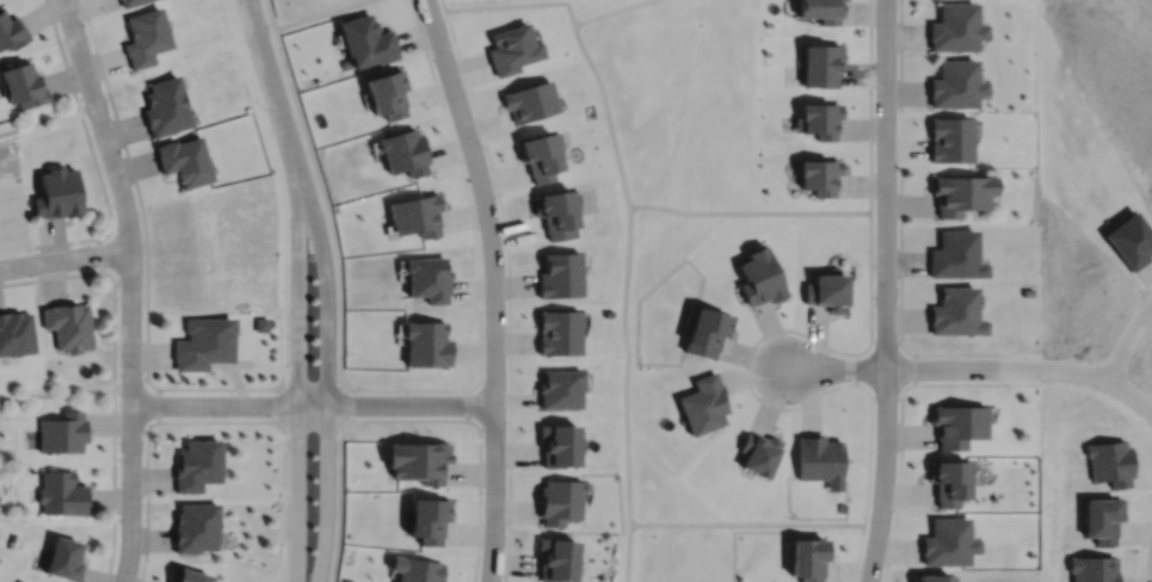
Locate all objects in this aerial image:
building: (127, 1)
road: (246, 1)
road: (246, 1)
building: (819, 8)
road: (608, 11)
road: (318, 13)
building: (954, 26)
building: (11, 30)
building: (143, 36)
building: (364, 39)
building: (510, 48)
road: (426, 54)
building: (820, 63)
building: (23, 83)
building: (954, 83)
building: (384, 92)
road: (273, 95)
building: (528, 100)
building: (164, 106)
road: (47, 116)
building: (818, 119)
road: (478, 123)
building: (949, 138)
building: (536, 156)
building: (183, 161)
road: (96, 167)
building: (818, 175)
building: (56, 193)
building: (959, 193)
road: (327, 210)
road: (854, 211)
building: (554, 213)
building: (414, 215)
road: (628, 225)
road: (899, 242)
building: (954, 255)
road: (64, 258)
road: (146, 258)
building: (557, 275)
building: (758, 278)
road: (130, 286)
road: (493, 286)
road: (885, 291)
building: (825, 292)
building: (954, 311)
building: (260, 324)
building: (68, 326)
building: (556, 332)
building: (704, 332)
building: (16, 334)
road: (1127, 339)
building: (202, 343)
road: (826, 347)
road: (834, 366)
road: (1023, 366)
road: (112, 372)
road: (310, 383)
road: (326, 383)
road: (297, 385)
road: (64, 390)
building: (557, 390)
building: (702, 401)
road: (275, 403)
road: (312, 403)
road: (900, 415)
road: (270, 420)
building: (959, 421)
building: (62, 429)
building: (758, 450)
building: (820, 457)
building: (419, 458)
building: (196, 462)
building: (949, 477)
building: (61, 490)
building: (556, 502)
road: (339, 503)
building: (429, 515)
road: (775, 522)
building: (195, 524)
building: (948, 539)
building: (66, 555)
road: (506, 555)
building: (557, 556)
building: (807, 556)
building: (417, 568)
building: (189, 574)
building: (934, 576)
building: (23, 581)

